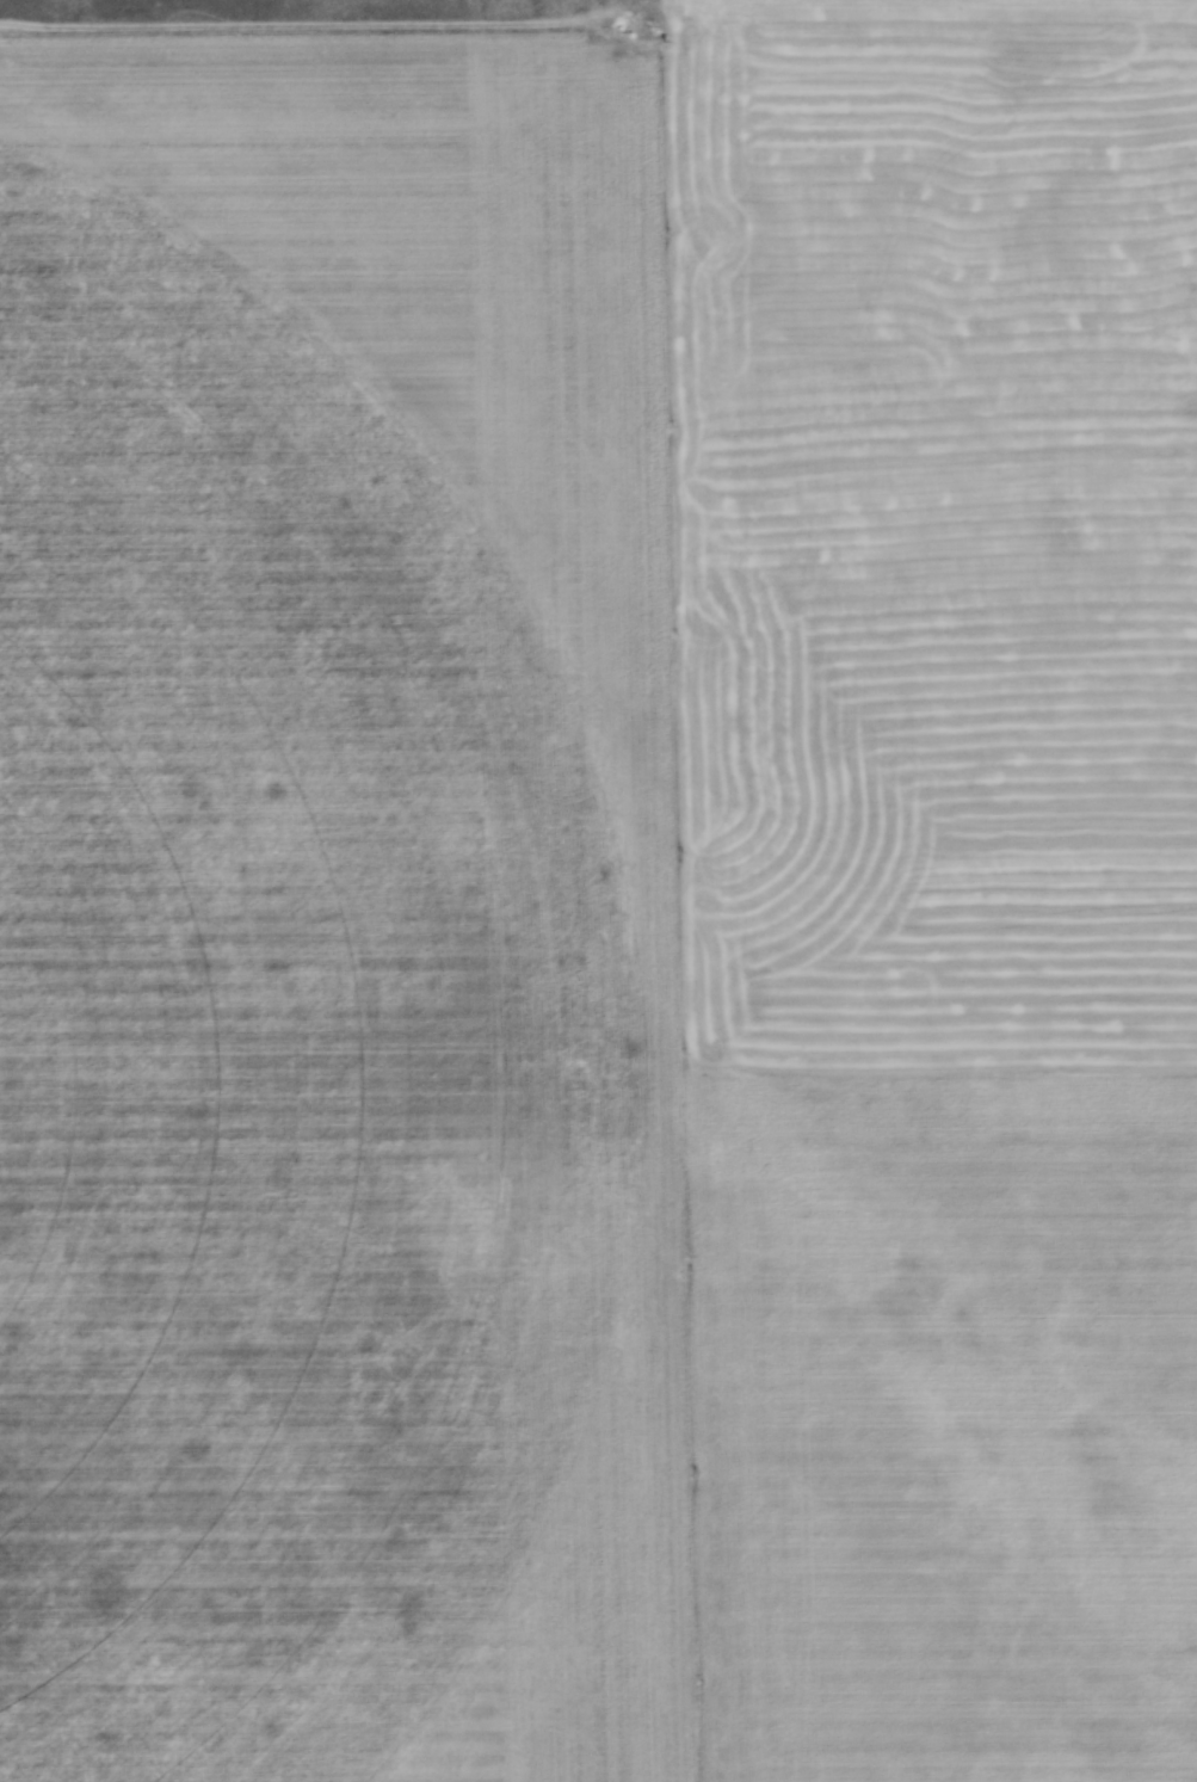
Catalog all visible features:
crop: (933, 882)

